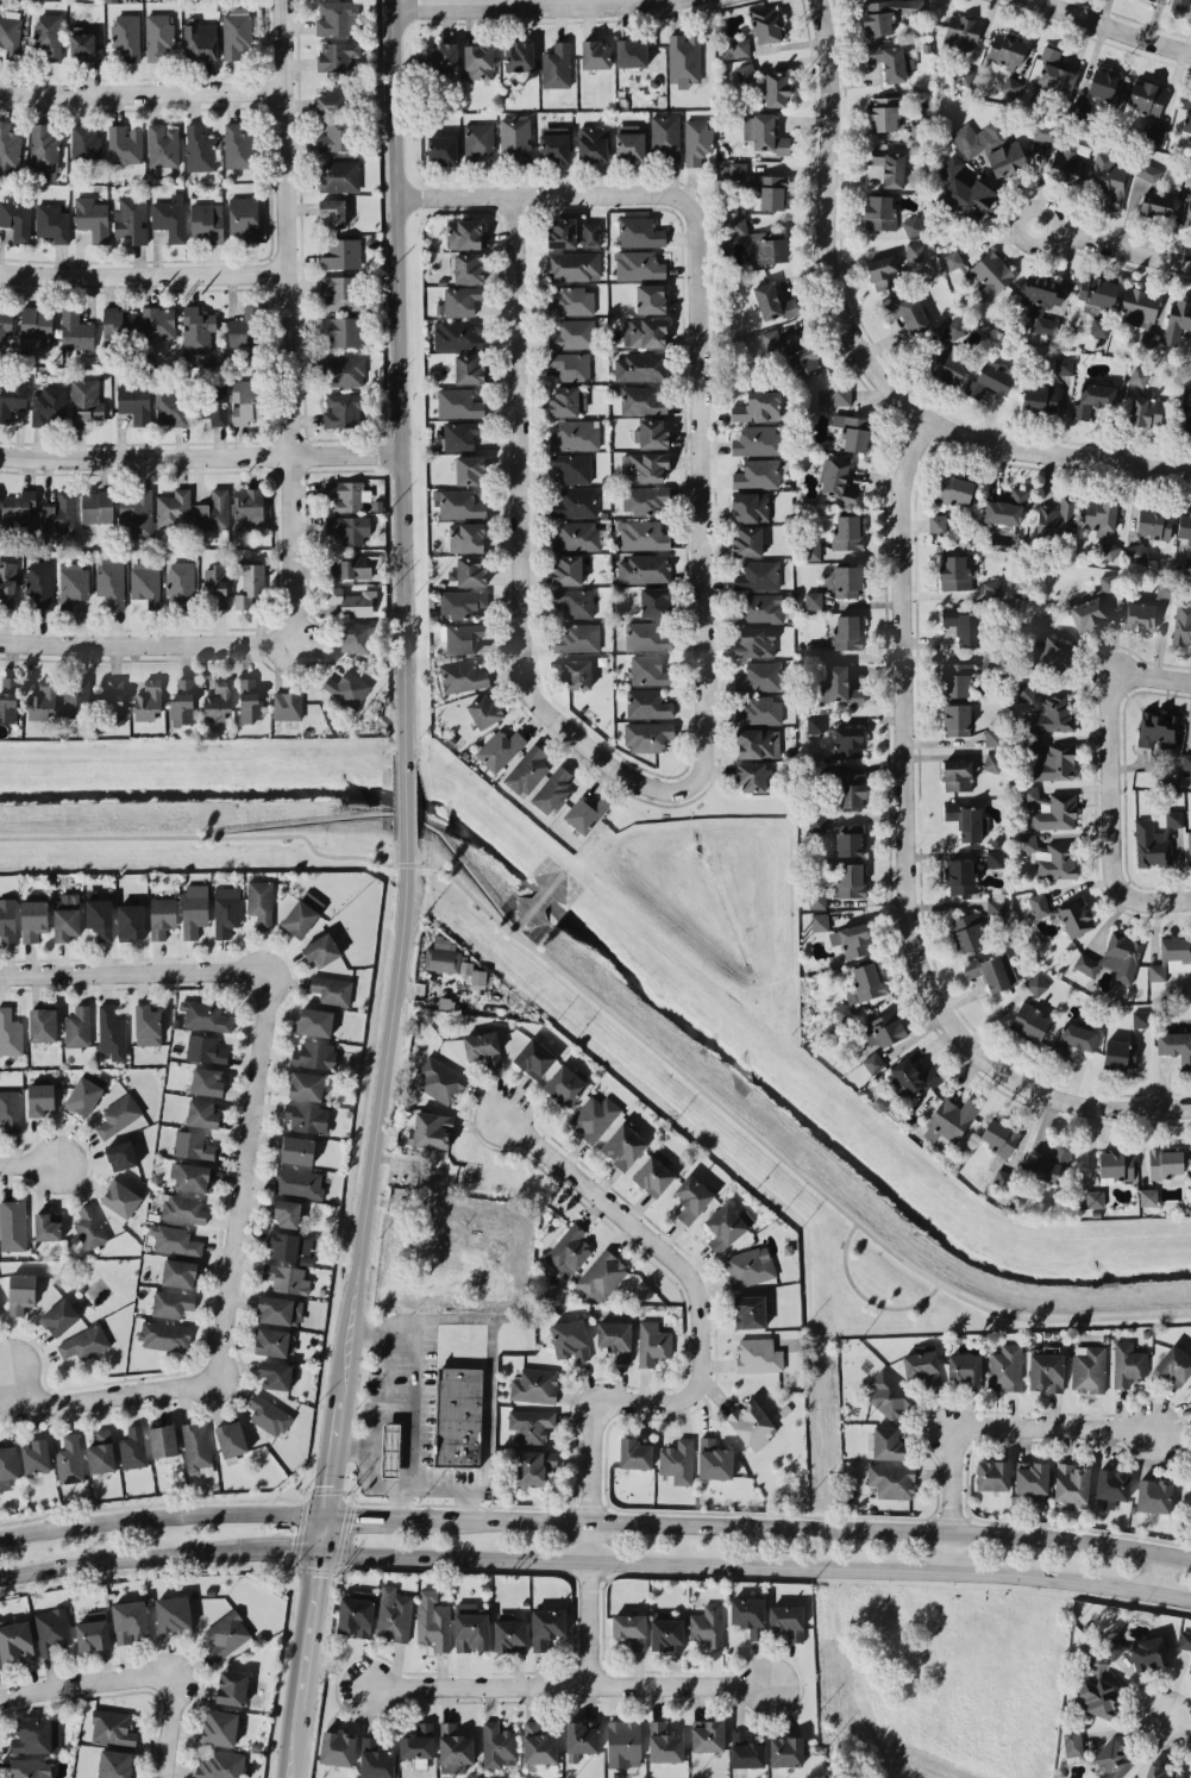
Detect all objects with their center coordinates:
building: (1155, 0)
road: (471, 1)
building: (1179, 4)
building: (888, 14)
building: (338, 17)
building: (766, 24)
road: (1120, 24)
building: (963, 30)
building: (237, 31)
building: (10, 32)
building: (48, 36)
building: (126, 36)
building: (159, 37)
building: (200, 40)
building: (82, 44)
building: (740, 46)
building: (1007, 49)
building: (632, 52)
building: (337, 55)
building: (596, 55)
building: (520, 56)
building: (443, 57)
building: (684, 60)
building: (478, 61)
building: (888, 61)
building: (556, 65)
building: (746, 74)
building: (963, 75)
building: (1052, 75)
building: (1107, 84)
building: (1010, 87)
building: (777, 88)
road: (140, 92)
building: (331, 98)
building: (1147, 98)
building: (1080, 109)
building: (884, 113)
building: (1186, 114)
building: (1045, 131)
building: (764, 133)
building: (1155, 133)
building: (334, 134)
building: (665, 137)
building: (478, 138)
building: (514, 138)
building: (696, 140)
building: (628, 142)
building: (593, 143)
building: (124, 144)
building: (553, 144)
building: (8, 145)
building: (86, 145)
building: (163, 146)
building: (238, 146)
building: (991, 146)
building: (199, 149)
building: (441, 149)
building: (43, 151)
building: (1067, 162)
building: (890, 168)
building: (1148, 171)
building: (1189, 173)
building: (339, 175)
building: (1109, 179)
building: (757, 184)
building: (965, 192)
road: (538, 195)
building: (1155, 204)
building: (1186, 211)
building: (333, 212)
building: (879, 212)
road: (1049, 214)
building: (170, 217)
building: (244, 217)
building: (92, 218)
building: (17, 219)
building: (131, 219)
building: (52, 221)
building: (207, 221)
building: (911, 225)
building: (735, 227)
building: (562, 232)
building: (640, 232)
building: (464, 233)
building: (590, 233)
building: (767, 245)
road: (1122, 245)
building: (914, 251)
building: (343, 253)
building: (572, 265)
building: (639, 265)
building: (468, 267)
road: (143, 271)
building: (884, 271)
building: (991, 274)
building: (1097, 290)
building: (340, 292)
building: (651, 298)
building: (462, 300)
building: (572, 301)
building: (1042, 301)
building: (773, 302)
building: (907, 312)
building: (1140, 312)
road: (287, 320)
building: (1178, 320)
building: (118, 321)
building: (158, 323)
building: (36, 326)
building: (955, 326)
building: (1099, 326)
building: (5, 327)
building: (246, 327)
building: (75, 330)
building: (196, 330)
building: (344, 331)
building: (645, 332)
building: (571, 333)
building: (457, 334)
building: (772, 338)
road: (865, 352)
building: (802, 357)
building: (571, 365)
building: (640, 365)
building: (947, 365)
building: (1064, 365)
building: (468, 369)
building: (344, 371)
building: (1139, 375)
road: (399, 376)
building: (989, 381)
building: (842, 395)
building: (12, 396)
building: (1040, 399)
building: (1092, 399)
building: (211, 400)
building: (246, 400)
building: (569, 400)
building: (641, 400)
building: (86, 402)
building: (134, 402)
building: (458, 403)
building: (49, 406)
building: (171, 406)
building: (757, 407)
building: (343, 409)
building: (1185, 409)
building: (1146, 412)
building: (853, 431)
building: (652, 433)
building: (462, 434)
building: (575, 434)
building: (757, 440)
road: (199, 455)
building: (572, 467)
building: (644, 467)
building: (469, 469)
building: (757, 474)
building: (838, 482)
building: (954, 489)
road: (694, 490)
building: (345, 494)
building: (645, 499)
building: (576, 502)
building: (458, 503)
building: (96, 506)
building: (247, 507)
building: (751, 507)
building: (1007, 507)
building: (173, 508)
building: (20, 509)
building: (137, 511)
building: (213, 511)
building: (59, 512)
building: (1099, 514)
building: (1057, 518)
building: (936, 521)
building: (1153, 522)
building: (1184, 526)
building: (349, 528)
building: (847, 532)
building: (642, 534)
building: (577, 536)
building: (466, 537)
building: (747, 540)
road: (514, 547)
building: (1108, 549)
building: (1137, 551)
building: (352, 566)
building: (568, 569)
building: (644, 569)
building: (470, 570)
building: (954, 571)
building: (758, 575)
building: (111, 581)
building: (847, 581)
building: (145, 582)
building: (1109, 582)
building: (7, 583)
building: (73, 583)
building: (181, 583)
building: (250, 583)
building: (39, 584)
building: (217, 586)
building: (992, 588)
building: (1164, 588)
building: (813, 599)
building: (352, 601)
building: (575, 601)
building: (654, 601)
building: (462, 602)
building: (760, 607)
building: (1089, 614)
building: (1141, 614)
building: (1036, 624)
building: (1181, 624)
building: (963, 626)
building: (847, 632)
building: (357, 637)
building: (464, 637)
building: (646, 637)
building: (577, 638)
building: (756, 641)
road: (145, 643)
building: (814, 651)
building: (1054, 652)
building: (648, 670)
building: (577, 674)
building: (462, 676)
building: (759, 676)
road: (1181, 677)
building: (955, 680)
building: (838, 685)
building: (347, 687)
building: (1026, 691)
building: (8, 697)
building: (250, 699)
building: (43, 700)
building: (76, 700)
building: (148, 700)
building: (218, 700)
building: (113, 701)
building: (183, 702)
building: (647, 703)
building: (287, 705)
building: (484, 710)
building: (760, 710)
building: (1049, 714)
building: (957, 719)
building: (815, 724)
building: (1158, 728)
building: (647, 735)
building: (992, 737)
building: (848, 741)
building: (758, 743)
building: (500, 749)
building: (992, 762)
building: (1053, 762)
building: (1186, 763)
building: (526, 771)
road: (914, 771)
building: (957, 775)
building: (752, 776)
road: (1116, 784)
building: (850, 789)
building: (552, 790)
road: (406, 794)
building: (1051, 808)
road: (393, 812)
building: (585, 812)
building: (966, 820)
building: (816, 821)
building: (1155, 839)
building: (851, 840)
building: (1189, 844)
building: (995, 858)
building: (963, 876)
building: (851, 879)
building: (817, 899)
building: (261, 902)
building: (1039, 904)
building: (995, 907)
building: (194, 908)
building: (226, 909)
building: (302, 914)
building: (67, 915)
building: (100, 916)
building: (162, 916)
building: (1074, 916)
building: (33, 919)
building: (7, 920)
building: (131, 921)
building: (820, 921)
building: (967, 932)
building: (852, 939)
building: (321, 949)
building: (1114, 957)
building: (1171, 957)
building: (451, 962)
river: (620, 965)
road: (131, 971)
building: (992, 971)
building: (865, 982)
building: (1036, 984)
building: (332, 990)
building: (841, 1013)
road: (614, 1014)
building: (205, 1015)
building: (1141, 1018)
building: (314, 1021)
building: (1029, 1022)
building: (43, 1023)
building: (148, 1025)
building: (79, 1026)
building: (885, 1028)
building: (10, 1033)
building: (112, 1033)
building: (1073, 1038)
building: (1176, 1046)
building: (483, 1047)
building: (205, 1048)
building: (1120, 1053)
building: (314, 1054)
building: (534, 1058)
building: (873, 1063)
building: (911, 1078)
building: (440, 1079)
building: (207, 1082)
building: (306, 1085)
building: (564, 1085)
building: (84, 1093)
building: (40, 1098)
road: (1110, 1104)
building: (10, 1109)
building: (202, 1113)
building: (119, 1114)
building: (307, 1117)
road: (378, 1117)
building: (594, 1117)
building: (949, 1119)
building: (432, 1129)
building: (999, 1138)
building: (193, 1145)
building: (623, 1145)
building: (297, 1150)
building: (121, 1154)
building: (1190, 1160)
building: (1165, 1163)
road: (27, 1164)
building: (1046, 1164)
building: (1115, 1165)
building: (654, 1173)
road: (237, 1175)
building: (190, 1176)
building: (1148, 1196)
building: (691, 1197)
building: (121, 1198)
building: (1095, 1198)
building: (183, 1209)
building: (286, 1212)
building: (12, 1225)
building: (727, 1226)
building: (46, 1227)
building: (89, 1227)
building: (174, 1240)
building: (288, 1245)
building: (569, 1250)
building: (750, 1266)
building: (180, 1272)
building: (602, 1276)
building: (287, 1278)
building: (20, 1292)
road: (865, 1296)
building: (171, 1303)
building: (280, 1310)
building: (750, 1311)
building: (59, 1316)
building: (164, 1335)
building: (570, 1339)
building: (615, 1339)
building: (272, 1341)
building: (84, 1342)
building: (652, 1342)
building: (758, 1354)
building: (1128, 1363)
building: (1174, 1365)
building: (923, 1366)
building: (1005, 1367)
building: (964, 1369)
building: (1046, 1371)
building: (276, 1375)
building: (534, 1385)
road: (10, 1386)
building: (888, 1394)
road: (105, 1396)
road: (676, 1396)
building: (269, 1415)
building: (457, 1416)
road: (412, 1423)
building: (531, 1423)
building: (752, 1423)
road: (977, 1426)
building: (163, 1439)
building: (231, 1439)
building: (888, 1442)
building: (133, 1447)
building: (196, 1447)
building: (390, 1450)
gas station: (390, 1450)
building: (101, 1452)
building: (634, 1453)
building: (36, 1455)
road: (331, 1457)
building: (69, 1459)
building: (714, 1459)
building: (677, 1461)
building: (7, 1465)
building: (532, 1466)
road: (368, 1467)
building: (992, 1475)
building: (891, 1479)
building: (1032, 1479)
building: (1190, 1483)
building: (1072, 1484)
building: (1112, 1486)
building: (1153, 1495)
road: (401, 1501)
traffic signals: (324, 1513)
road: (161, 1514)
road: (374, 1514)
road: (808, 1525)
road: (321, 1533)
road: (281, 1551)
traffic signals: (319, 1553)
road: (120, 1557)
road: (756, 1566)
road: (1155, 1573)
building: (173, 1613)
building: (355, 1613)
building: (394, 1614)
building: (750, 1615)
building: (128, 1620)
building: (433, 1620)
building: (786, 1621)
building: (708, 1626)
building: (470, 1627)
building: (546, 1627)
building: (631, 1629)
building: (51, 1630)
road: (308, 1632)
building: (509, 1633)
building: (92, 1634)
building: (226, 1634)
building: (666, 1634)
building: (1185, 1640)
building: (15, 1641)
building: (1148, 1653)
building: (1190, 1672)
road: (86, 1680)
building: (1099, 1680)
road: (563, 1686)
building: (232, 1688)
road: (1178, 1723)
road: (164, 1724)
building: (113, 1727)
building: (220, 1727)
building: (37, 1735)
building: (707, 1735)
building: (582, 1736)
building: (1072, 1742)
building: (623, 1743)
building: (664, 1743)
road: (293, 1745)
building: (418, 1745)
building: (497, 1745)
building: (538, 1745)
building: (337, 1748)
building: (453, 1748)
building: (746, 1751)
building: (785, 1751)
building: (1114, 1758)
building: (375, 1760)
building: (114, 1764)
building: (220, 1764)
building: (31, 1768)

